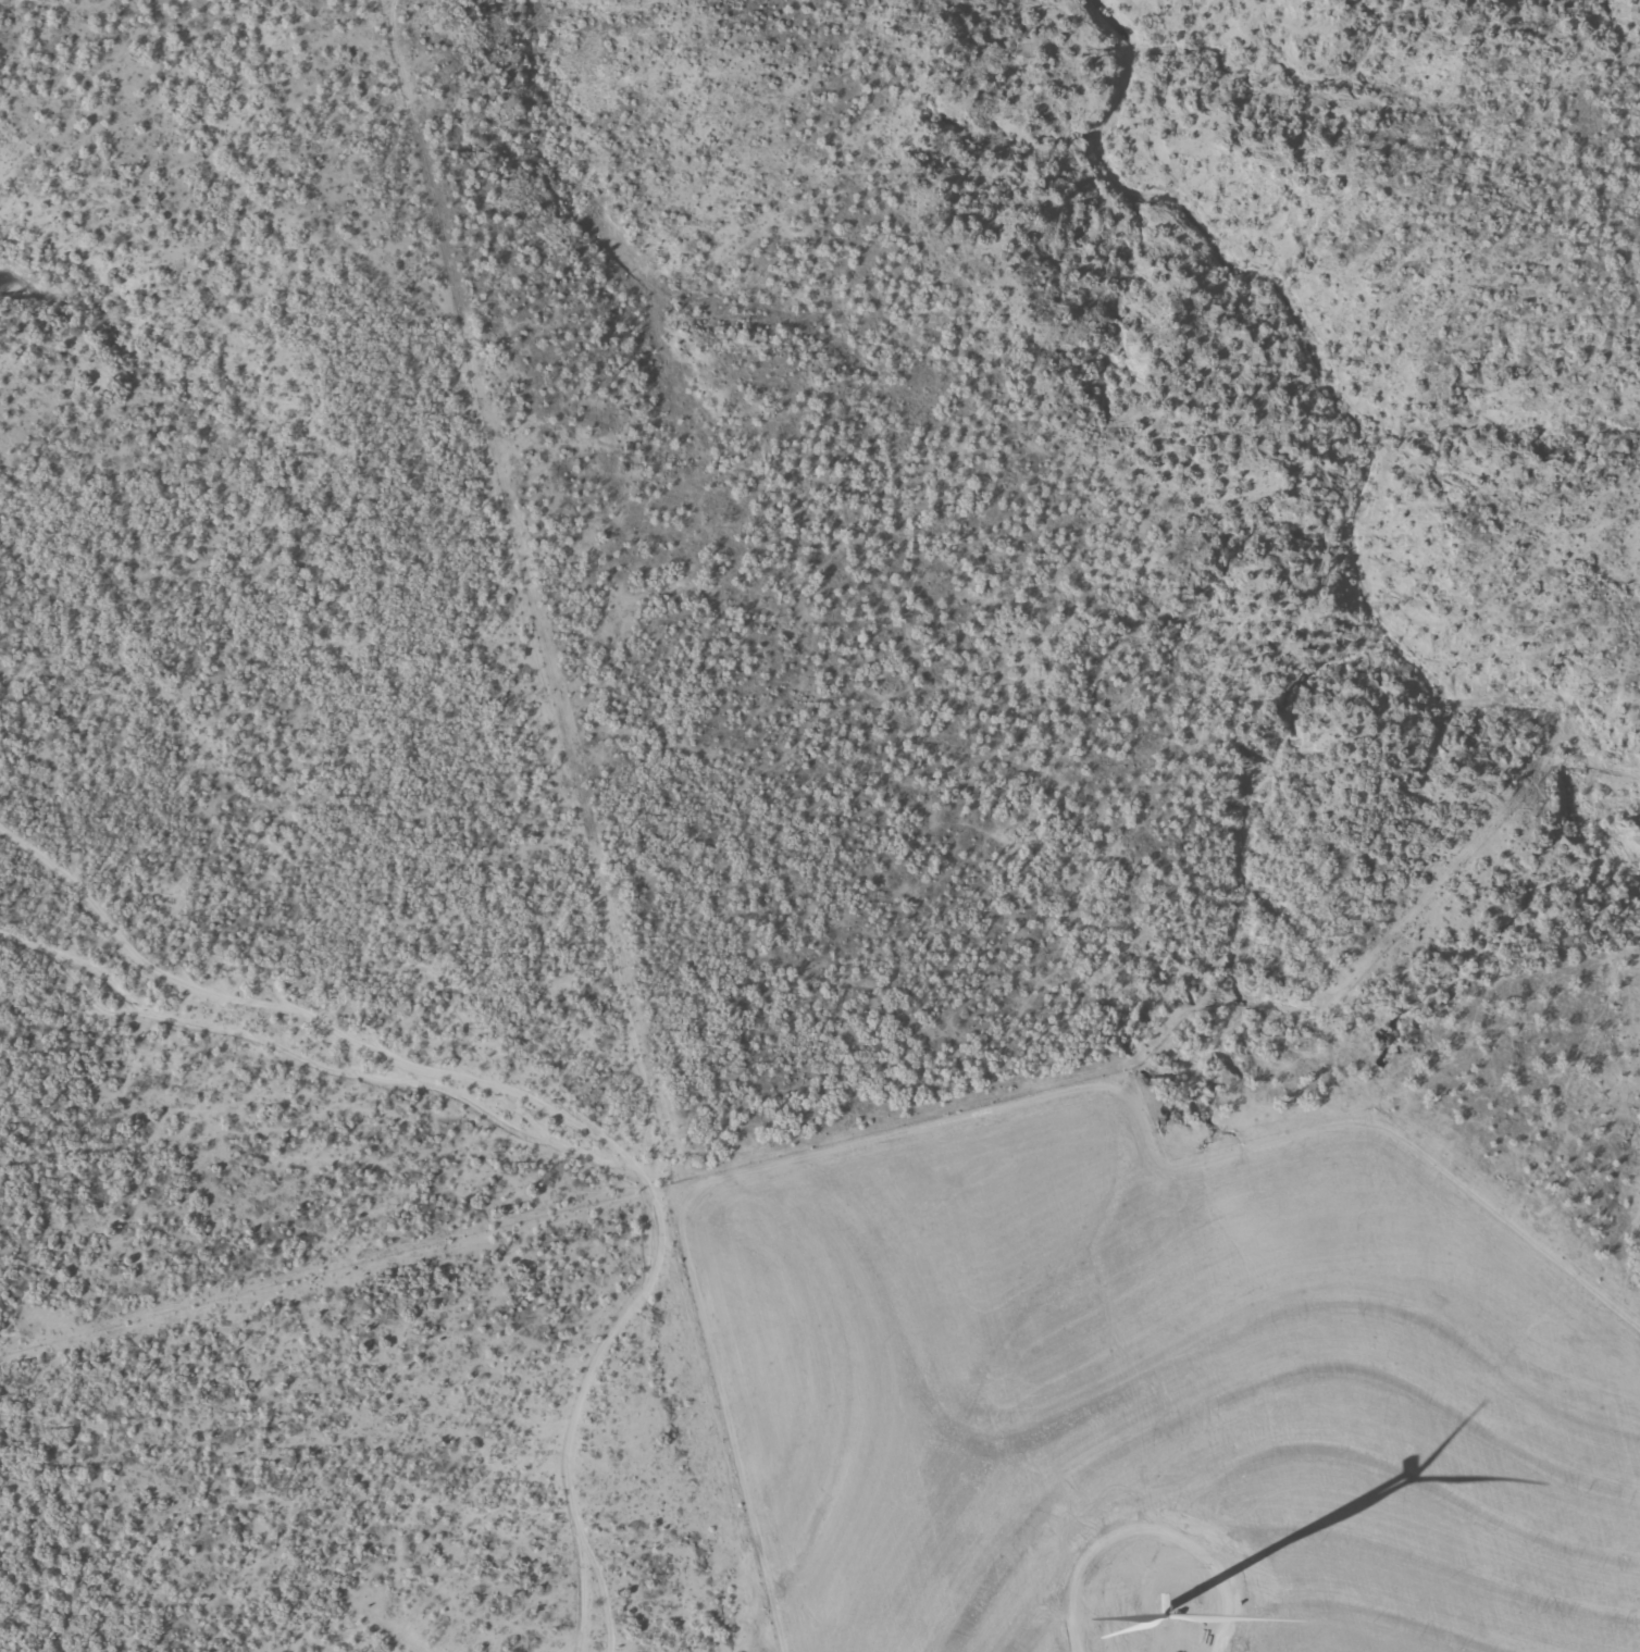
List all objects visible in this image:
road: (542, 1150)
wind turbine: (1170, 1599)

